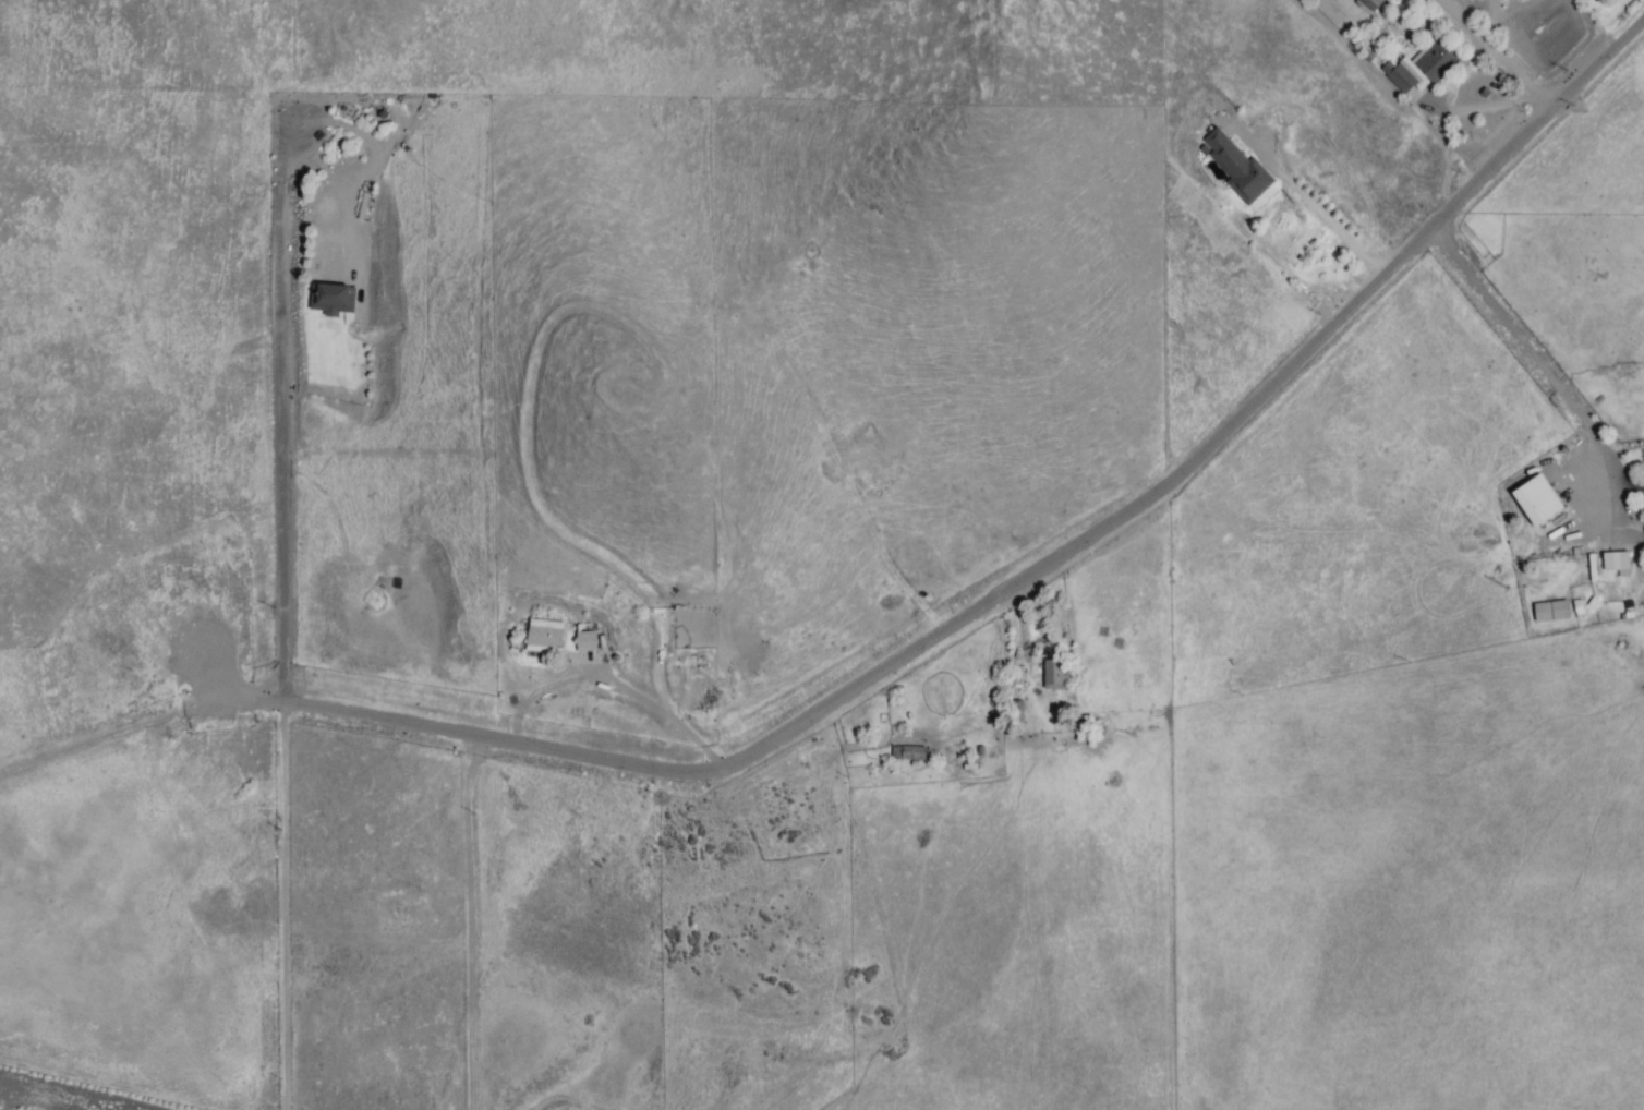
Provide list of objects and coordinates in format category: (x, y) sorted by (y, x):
building: (1370, 4)
road: (1502, 52)
building: (1436, 63)
building: (1397, 76)
building: (1232, 165)
road: (287, 340)
road: (1547, 377)
building: (1615, 563)
building: (543, 635)
building: (585, 641)
road: (915, 651)
building: (1044, 672)
building: (911, 753)
road: (278, 906)
road: (470, 922)

